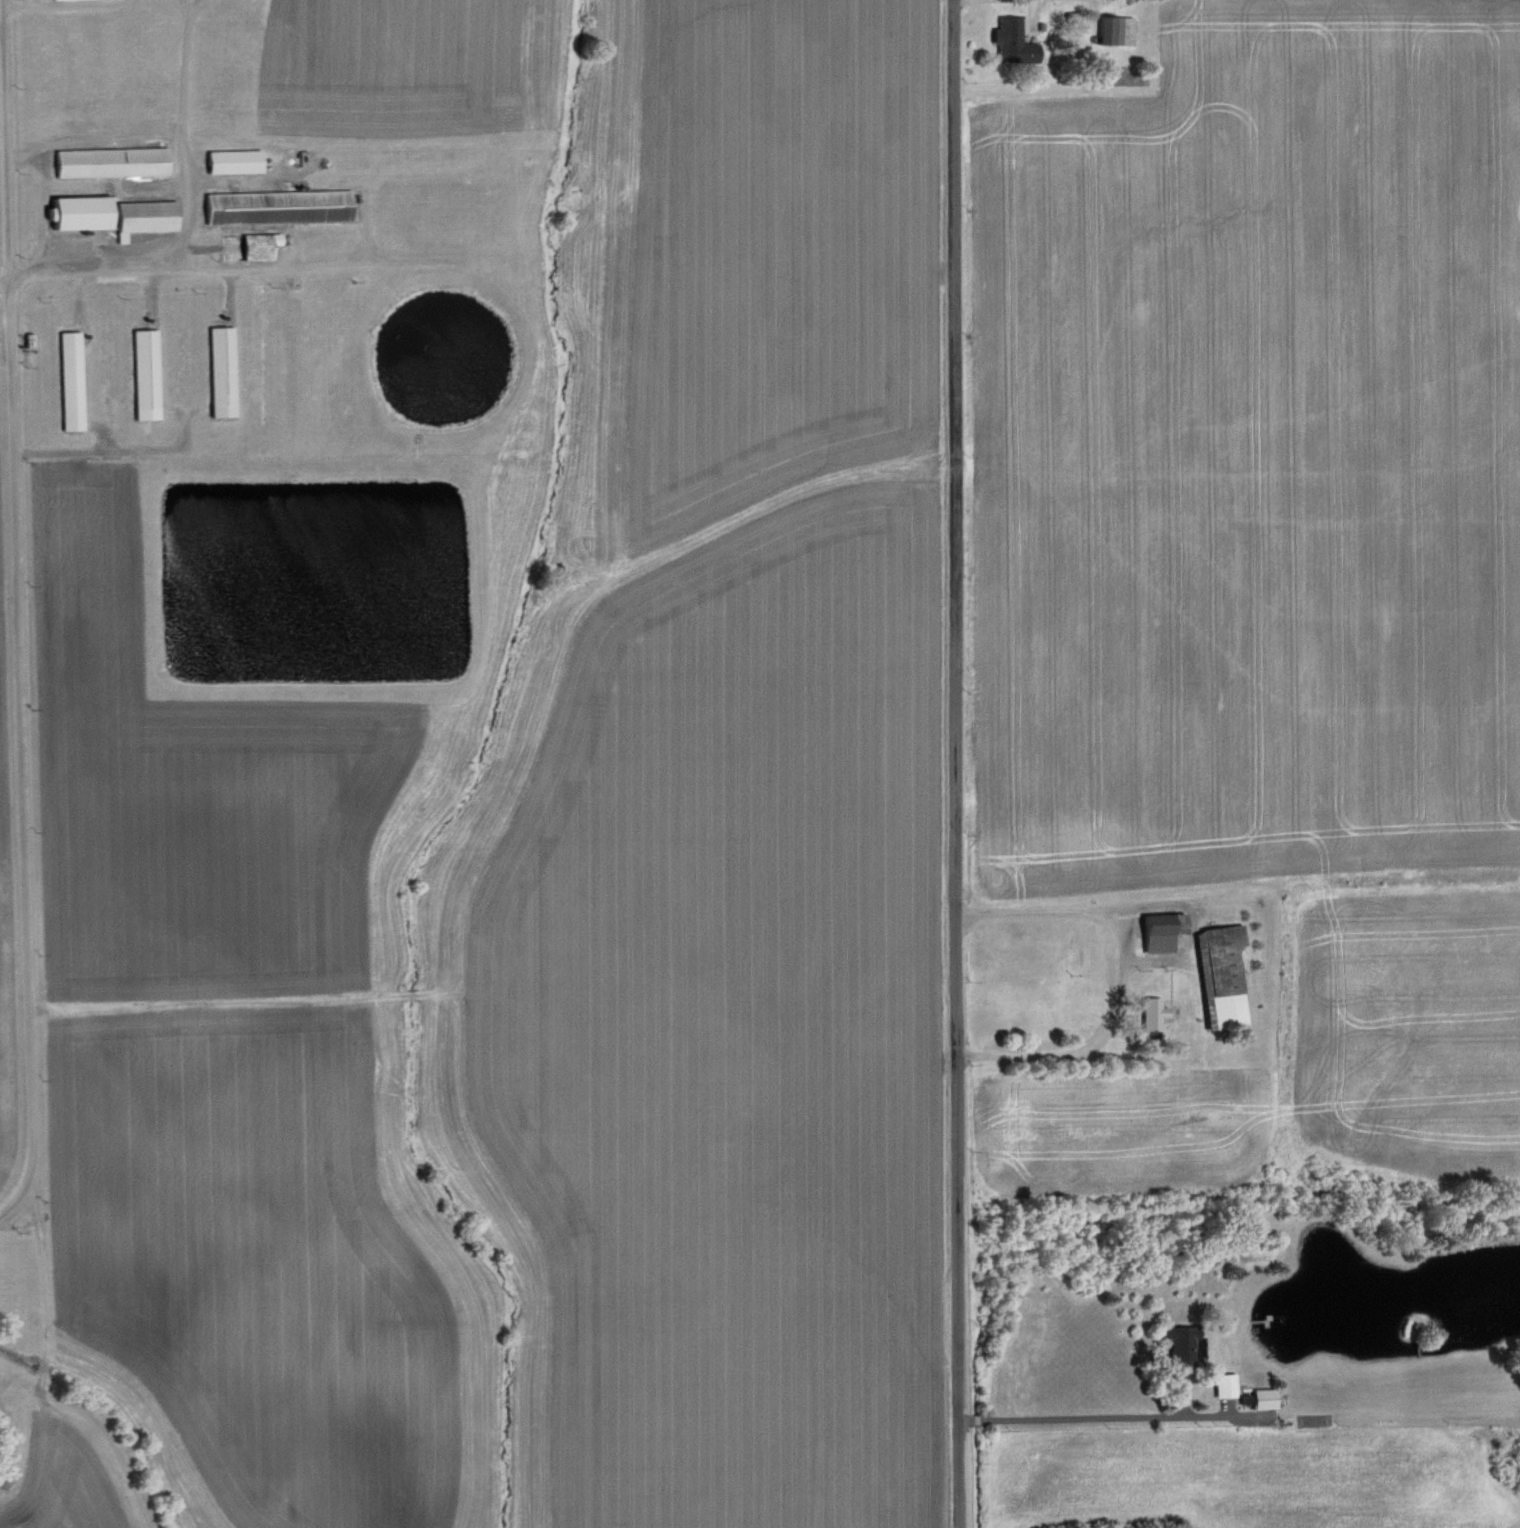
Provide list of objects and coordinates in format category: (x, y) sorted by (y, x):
building: (1117, 28)
building: (1015, 39)
road: (3, 85)
building: (112, 160)
building: (235, 160)
building: (279, 205)
road: (185, 210)
building: (113, 213)
building: (260, 244)
building: (223, 370)
building: (147, 372)
building: (72, 379)
road: (18, 747)
road: (951, 764)
building: (1164, 928)
building: (1224, 969)
road: (1119, 974)
building: (1182, 1340)
building: (1225, 1383)
building: (1262, 1396)
road: (1072, 1415)

